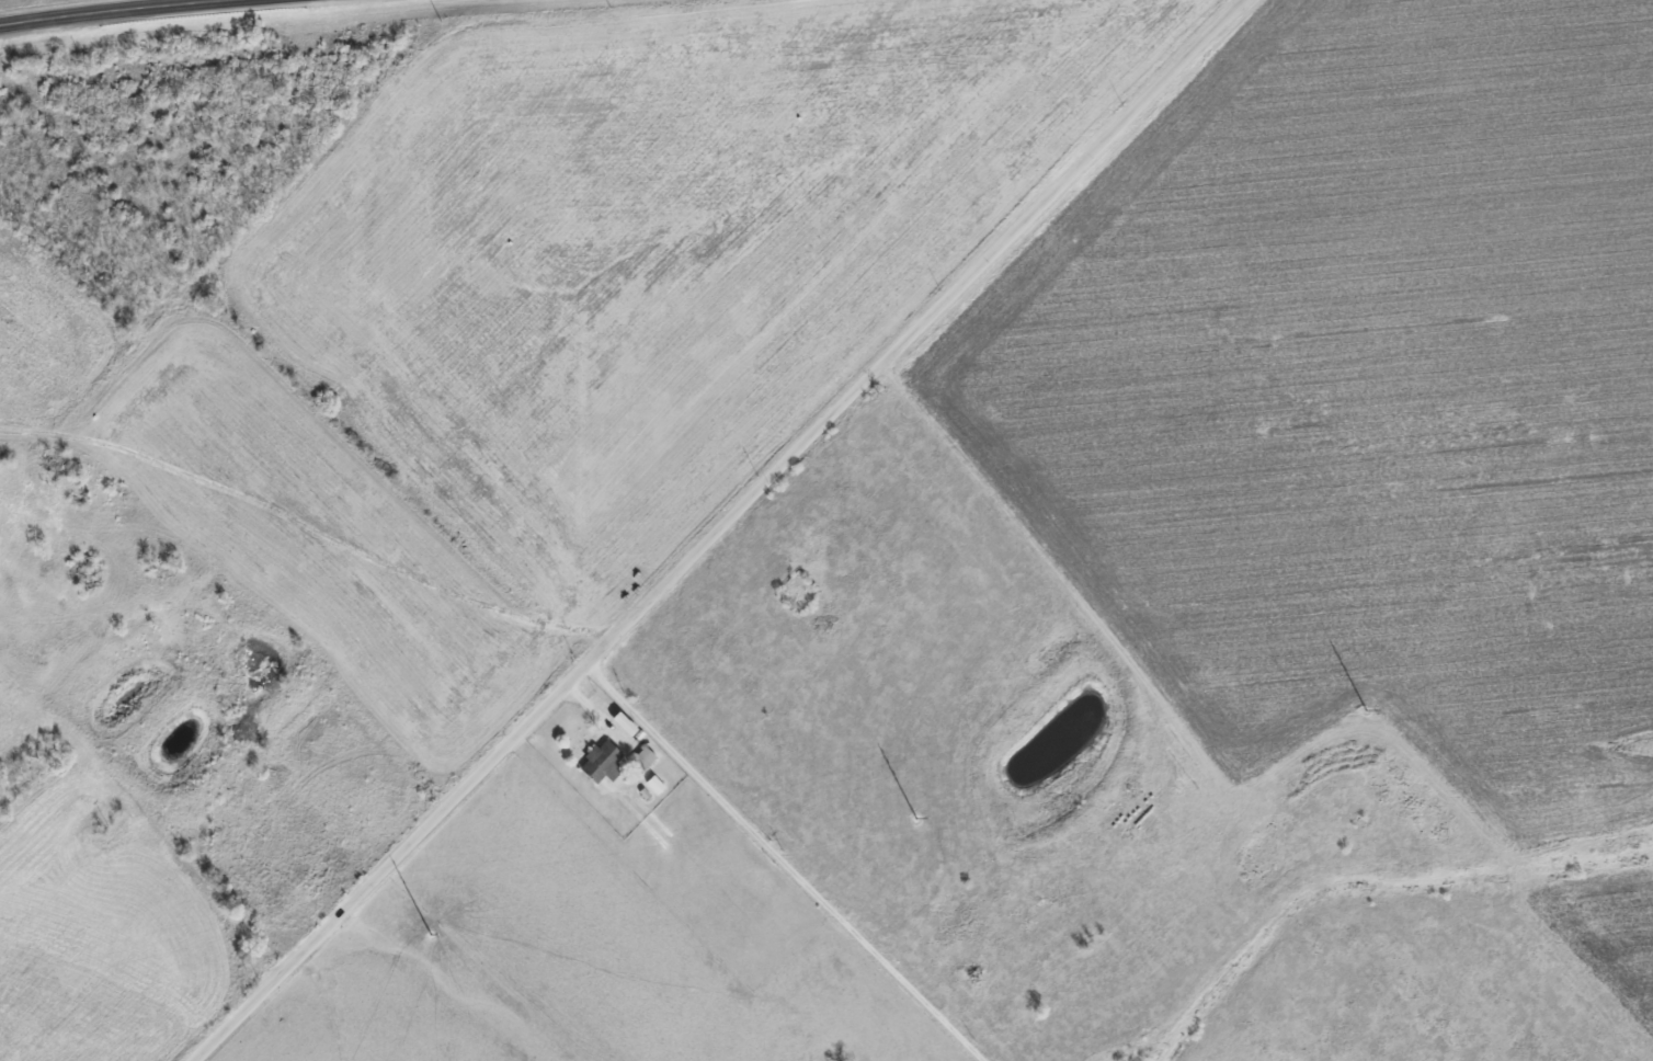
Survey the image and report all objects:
road: (118, 10)
building: (1, 466)
road: (717, 530)
building: (157, 567)
power tower: (1365, 710)
building: (622, 722)
power tower: (914, 819)
road: (780, 863)
power tower: (430, 934)

